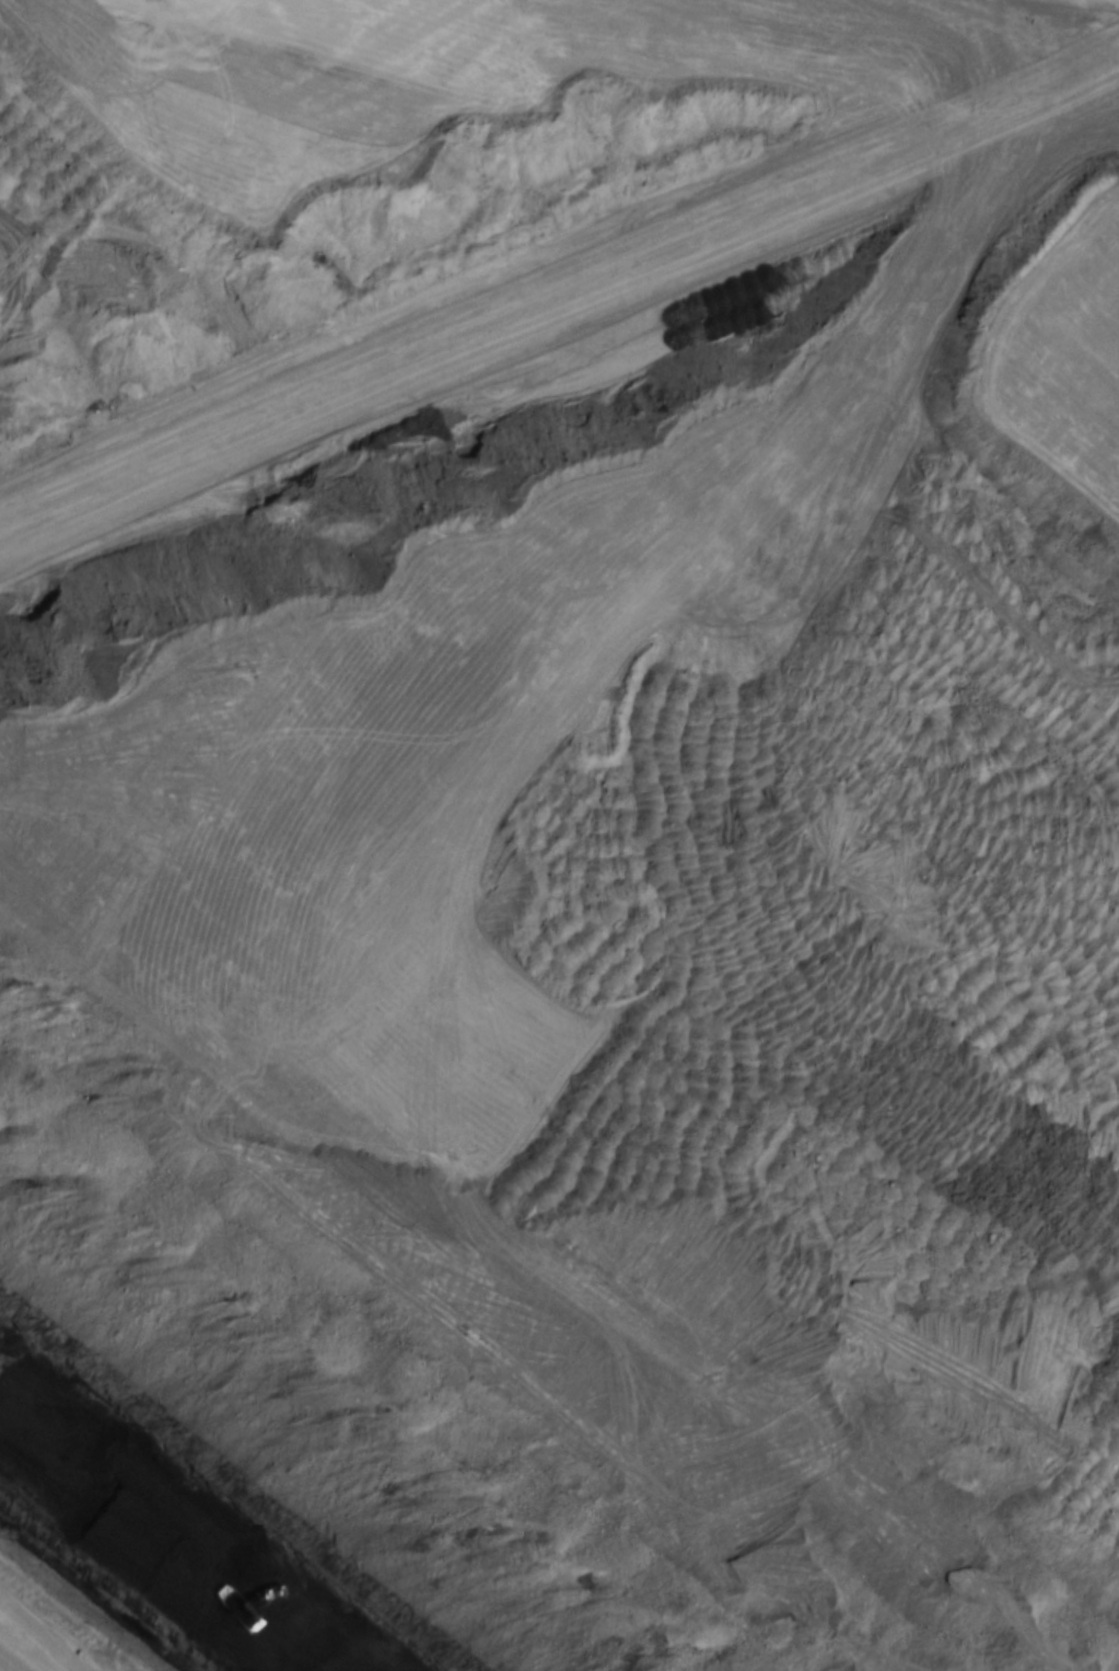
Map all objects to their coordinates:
road: (559, 1525)

